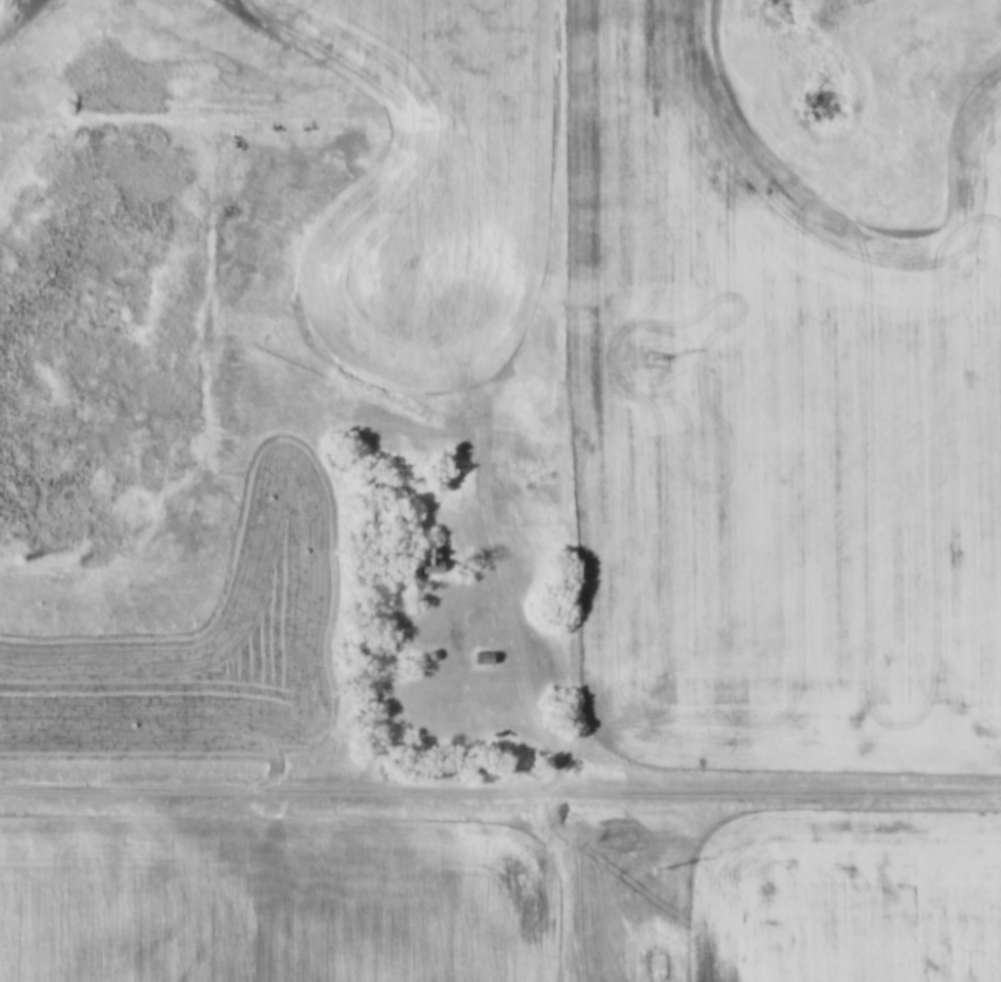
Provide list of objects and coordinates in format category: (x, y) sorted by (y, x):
power tower: (654, 359)
building: (429, 561)
building: (480, 657)
road: (534, 671)
road: (500, 783)
power tower: (659, 867)

